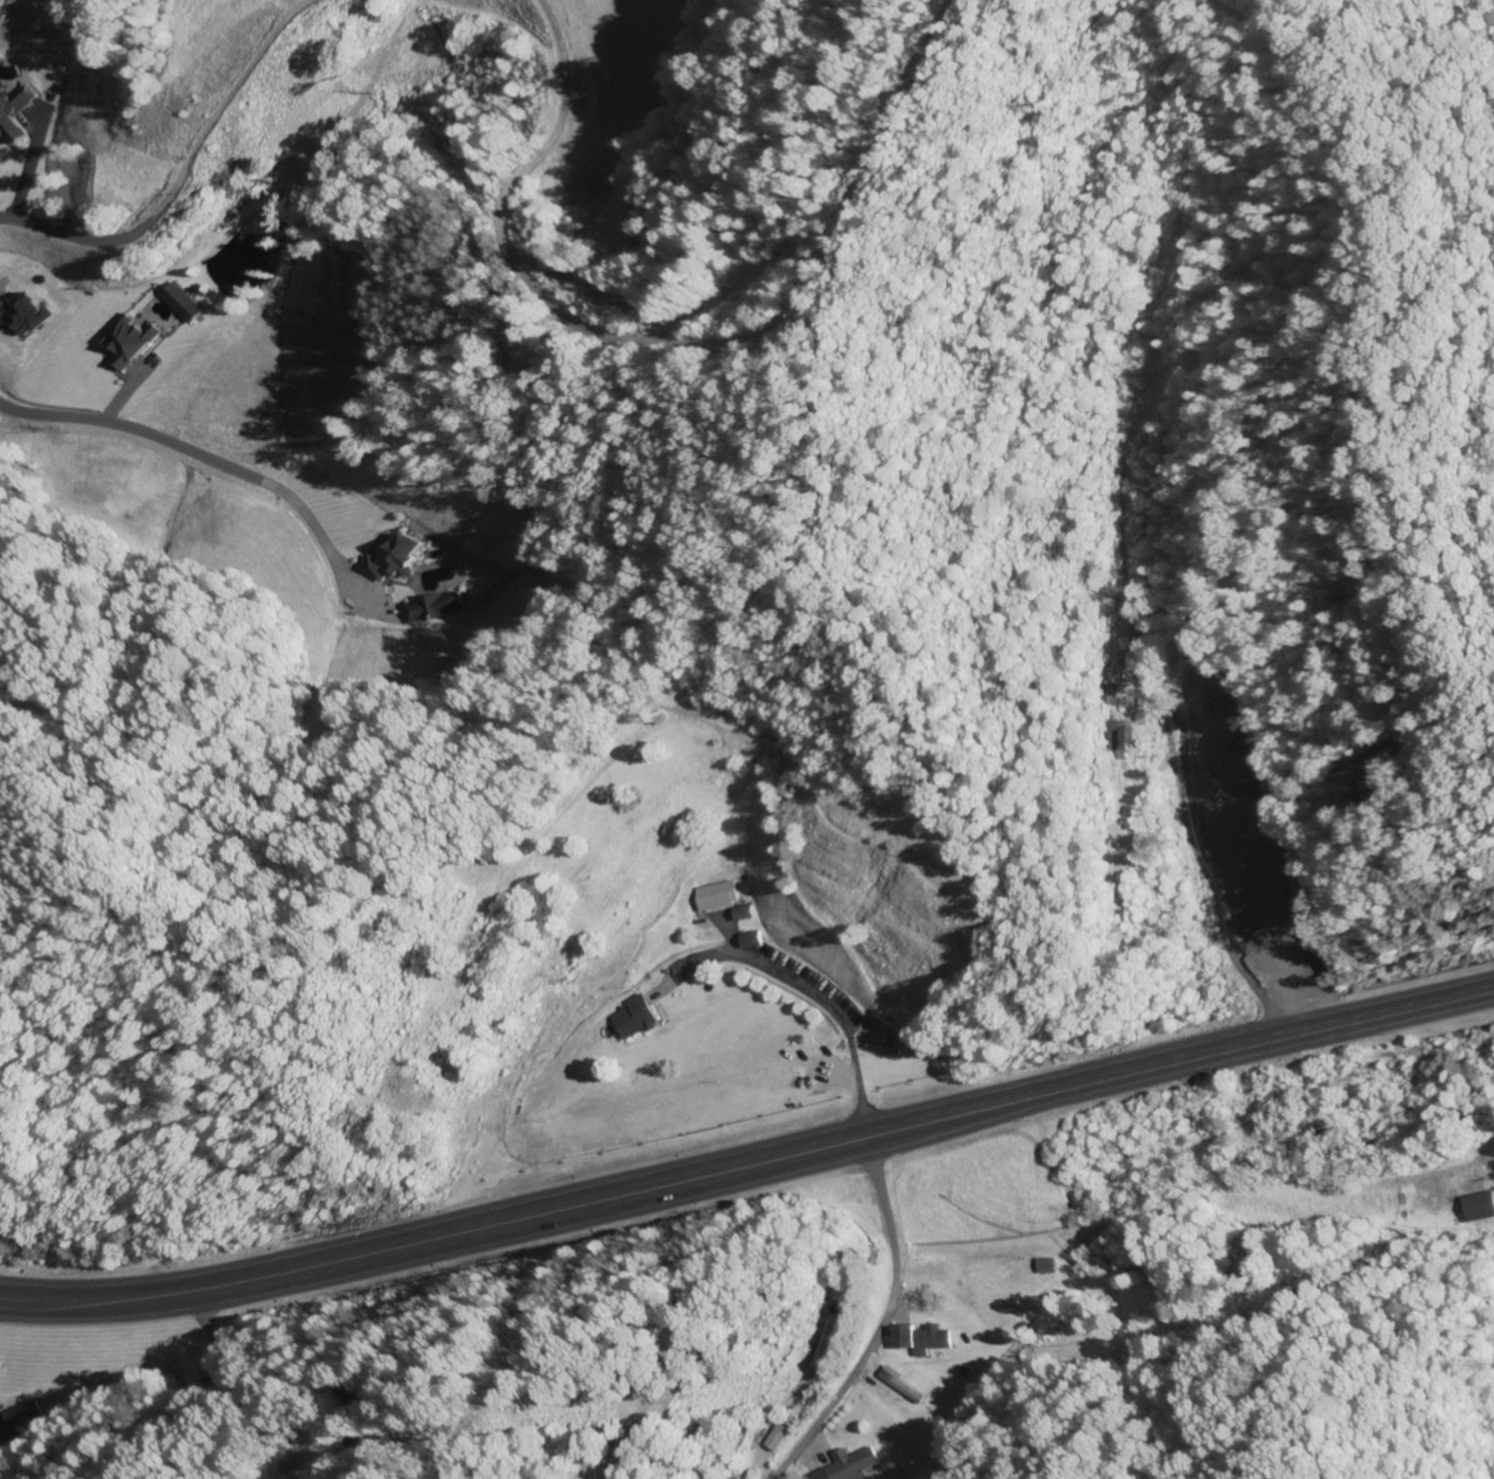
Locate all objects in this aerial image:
road: (187, 178)
building: (181, 302)
building: (129, 340)
road: (681, 347)
road: (179, 452)
road: (343, 560)
building: (1118, 740)
road: (1161, 746)
road: (1157, 809)
building: (704, 896)
building: (1233, 897)
building: (734, 913)
building: (628, 1018)
road: (750, 1173)
building: (1473, 1206)
building: (1038, 1265)
road: (877, 1329)
building: (917, 1338)
building: (821, 1342)
building: (893, 1385)
building: (357, 1409)
building: (21, 1419)
building: (840, 1465)

